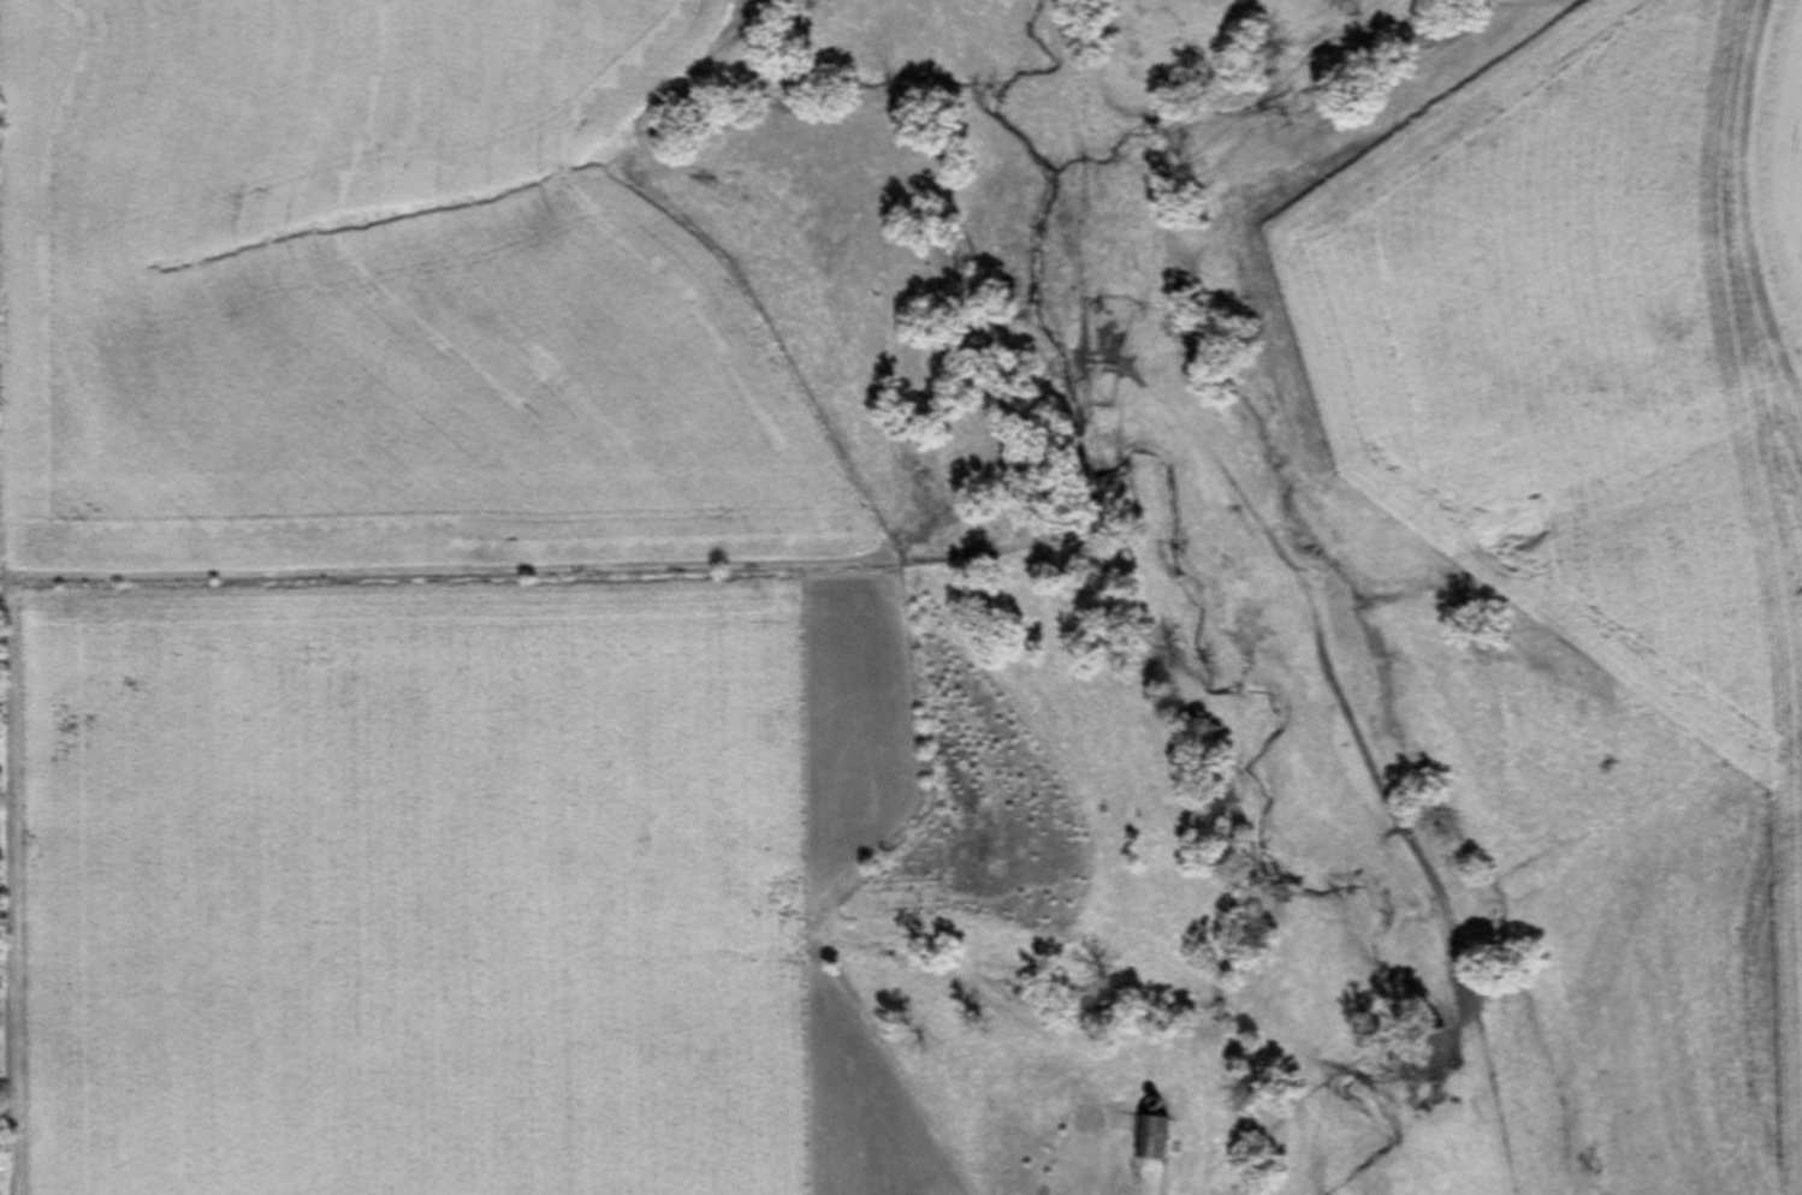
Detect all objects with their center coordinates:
building: (1148, 1136)

